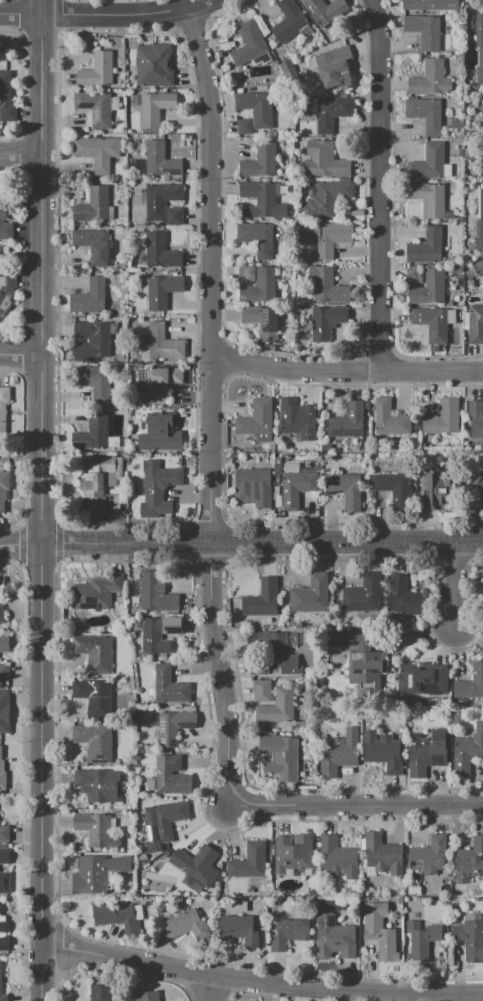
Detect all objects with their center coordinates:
building: (428, 4)
road: (108, 13)
building: (326, 13)
road: (22, 14)
road: (59, 15)
building: (288, 21)
road: (40, 29)
road: (19, 30)
building: (424, 30)
road: (20, 33)
road: (62, 33)
park: (10, 40)
building: (247, 43)
building: (478, 49)
building: (152, 66)
building: (331, 66)
building: (96, 70)
building: (429, 80)
building: (111, 89)
building: (136, 99)
building: (6, 100)
building: (123, 100)
building: (115, 104)
building: (94, 107)
building: (154, 108)
building: (329, 113)
building: (253, 114)
building: (425, 114)
building: (124, 136)
building: (137, 141)
building: (96, 152)
road: (20, 154)
building: (260, 160)
building: (323, 160)
building: (159, 161)
building: (427, 163)
road: (379, 186)
building: (158, 199)
building: (326, 199)
building: (427, 199)
building: (260, 201)
building: (92, 206)
building: (481, 212)
building: (110, 213)
building: (173, 216)
building: (4, 226)
building: (256, 236)
building: (324, 236)
building: (92, 246)
building: (425, 246)
building: (159, 252)
building: (482, 259)
building: (7, 281)
building: (326, 285)
building: (259, 286)
building: (428, 289)
building: (160, 292)
building: (88, 298)
building: (1, 311)
building: (261, 322)
building: (325, 323)
building: (430, 324)
building: (475, 324)
building: (90, 340)
building: (162, 344)
building: (142, 350)
road: (18, 355)
road: (346, 372)
building: (95, 382)
building: (159, 382)
building: (3, 405)
road: (211, 405)
building: (475, 417)
building: (442, 418)
building: (297, 419)
building: (255, 420)
building: (389, 421)
building: (346, 422)
building: (161, 433)
building: (97, 434)
building: (277, 465)
building: (291, 467)
building: (100, 475)
building: (476, 481)
building: (255, 485)
building: (393, 487)
building: (343, 488)
building: (3, 489)
building: (157, 489)
building: (294, 489)
building: (433, 492)
road: (39, 500)
building: (111, 503)
building: (277, 503)
road: (209, 525)
road: (261, 541)
road: (193, 542)
road: (224, 542)
road: (19, 544)
road: (209, 558)
road: (450, 581)
building: (95, 593)
building: (154, 593)
building: (363, 594)
building: (310, 595)
building: (402, 596)
building: (262, 599)
building: (2, 614)
building: (158, 633)
building: (293, 637)
building: (3, 643)
building: (94, 652)
building: (278, 652)
building: (360, 657)
building: (256, 667)
building: (3, 670)
building: (422, 680)
building: (467, 681)
building: (167, 685)
building: (261, 691)
building: (95, 698)
building: (276, 707)
building: (4, 712)
building: (457, 719)
building: (172, 726)
building: (92, 742)
building: (467, 750)
building: (382, 752)
building: (425, 752)
building: (336, 753)
building: (280, 756)
building: (2, 774)
building: (169, 777)
building: (150, 784)
building: (97, 785)
road: (356, 803)
building: (165, 819)
building: (96, 830)
building: (4, 833)
building: (292, 853)
building: (382, 855)
building: (3, 856)
building: (428, 856)
building: (337, 857)
building: (143, 858)
building: (248, 860)
building: (468, 861)
building: (196, 863)
building: (96, 873)
building: (4, 882)
building: (0, 912)
building: (118, 917)
building: (181, 926)
building: (238, 929)
building: (289, 932)
building: (379, 932)
building: (335, 936)
building: (469, 937)
building: (420, 941)
building: (3, 944)
building: (0, 977)
building: (139, 982)
road: (261, 982)
road: (205, 987)
building: (99, 993)
building: (146, 996)

